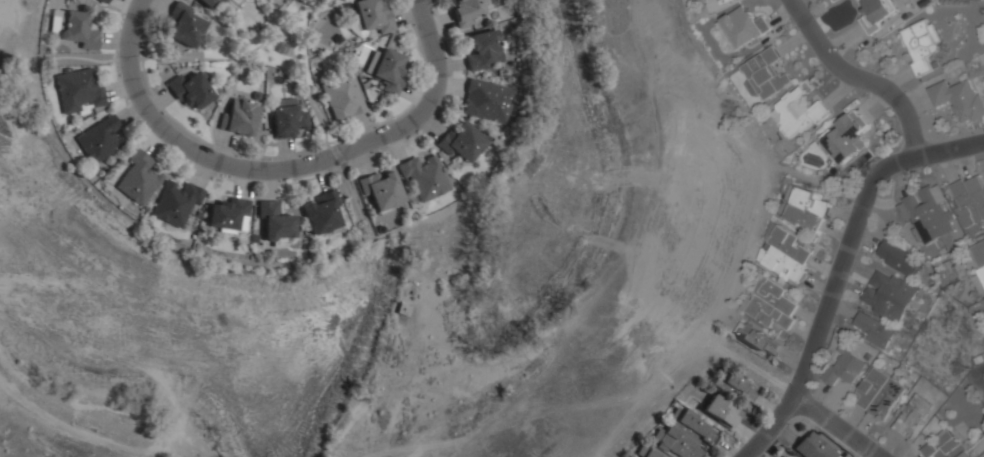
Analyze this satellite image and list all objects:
building: (104, 1)
building: (211, 4)
building: (467, 10)
building: (875, 14)
building: (373, 16)
building: (185, 25)
building: (745, 26)
building: (77, 29)
building: (920, 45)
building: (483, 50)
building: (372, 62)
building: (389, 71)
building: (766, 73)
road: (856, 80)
building: (79, 88)
building: (190, 90)
building: (343, 97)
building: (958, 99)
building: (489, 101)
building: (797, 113)
building: (239, 117)
building: (287, 119)
building: (846, 138)
building: (100, 140)
building: (462, 141)
road: (282, 169)
building: (425, 177)
building: (139, 179)
building: (383, 191)
building: (177, 203)
building: (969, 203)
building: (807, 208)
building: (228, 213)
building: (323, 213)
building: (926, 214)
building: (276, 222)
road: (618, 252)
building: (783, 253)
building: (899, 259)
building: (978, 264)
road: (839, 268)
building: (888, 296)
building: (766, 302)
building: (786, 321)
building: (876, 331)
building: (755, 340)
building: (844, 368)
building: (738, 387)
building: (878, 394)
building: (720, 410)
building: (912, 415)
road: (834, 428)
building: (685, 436)
building: (945, 446)
building: (814, 447)
building: (647, 453)

